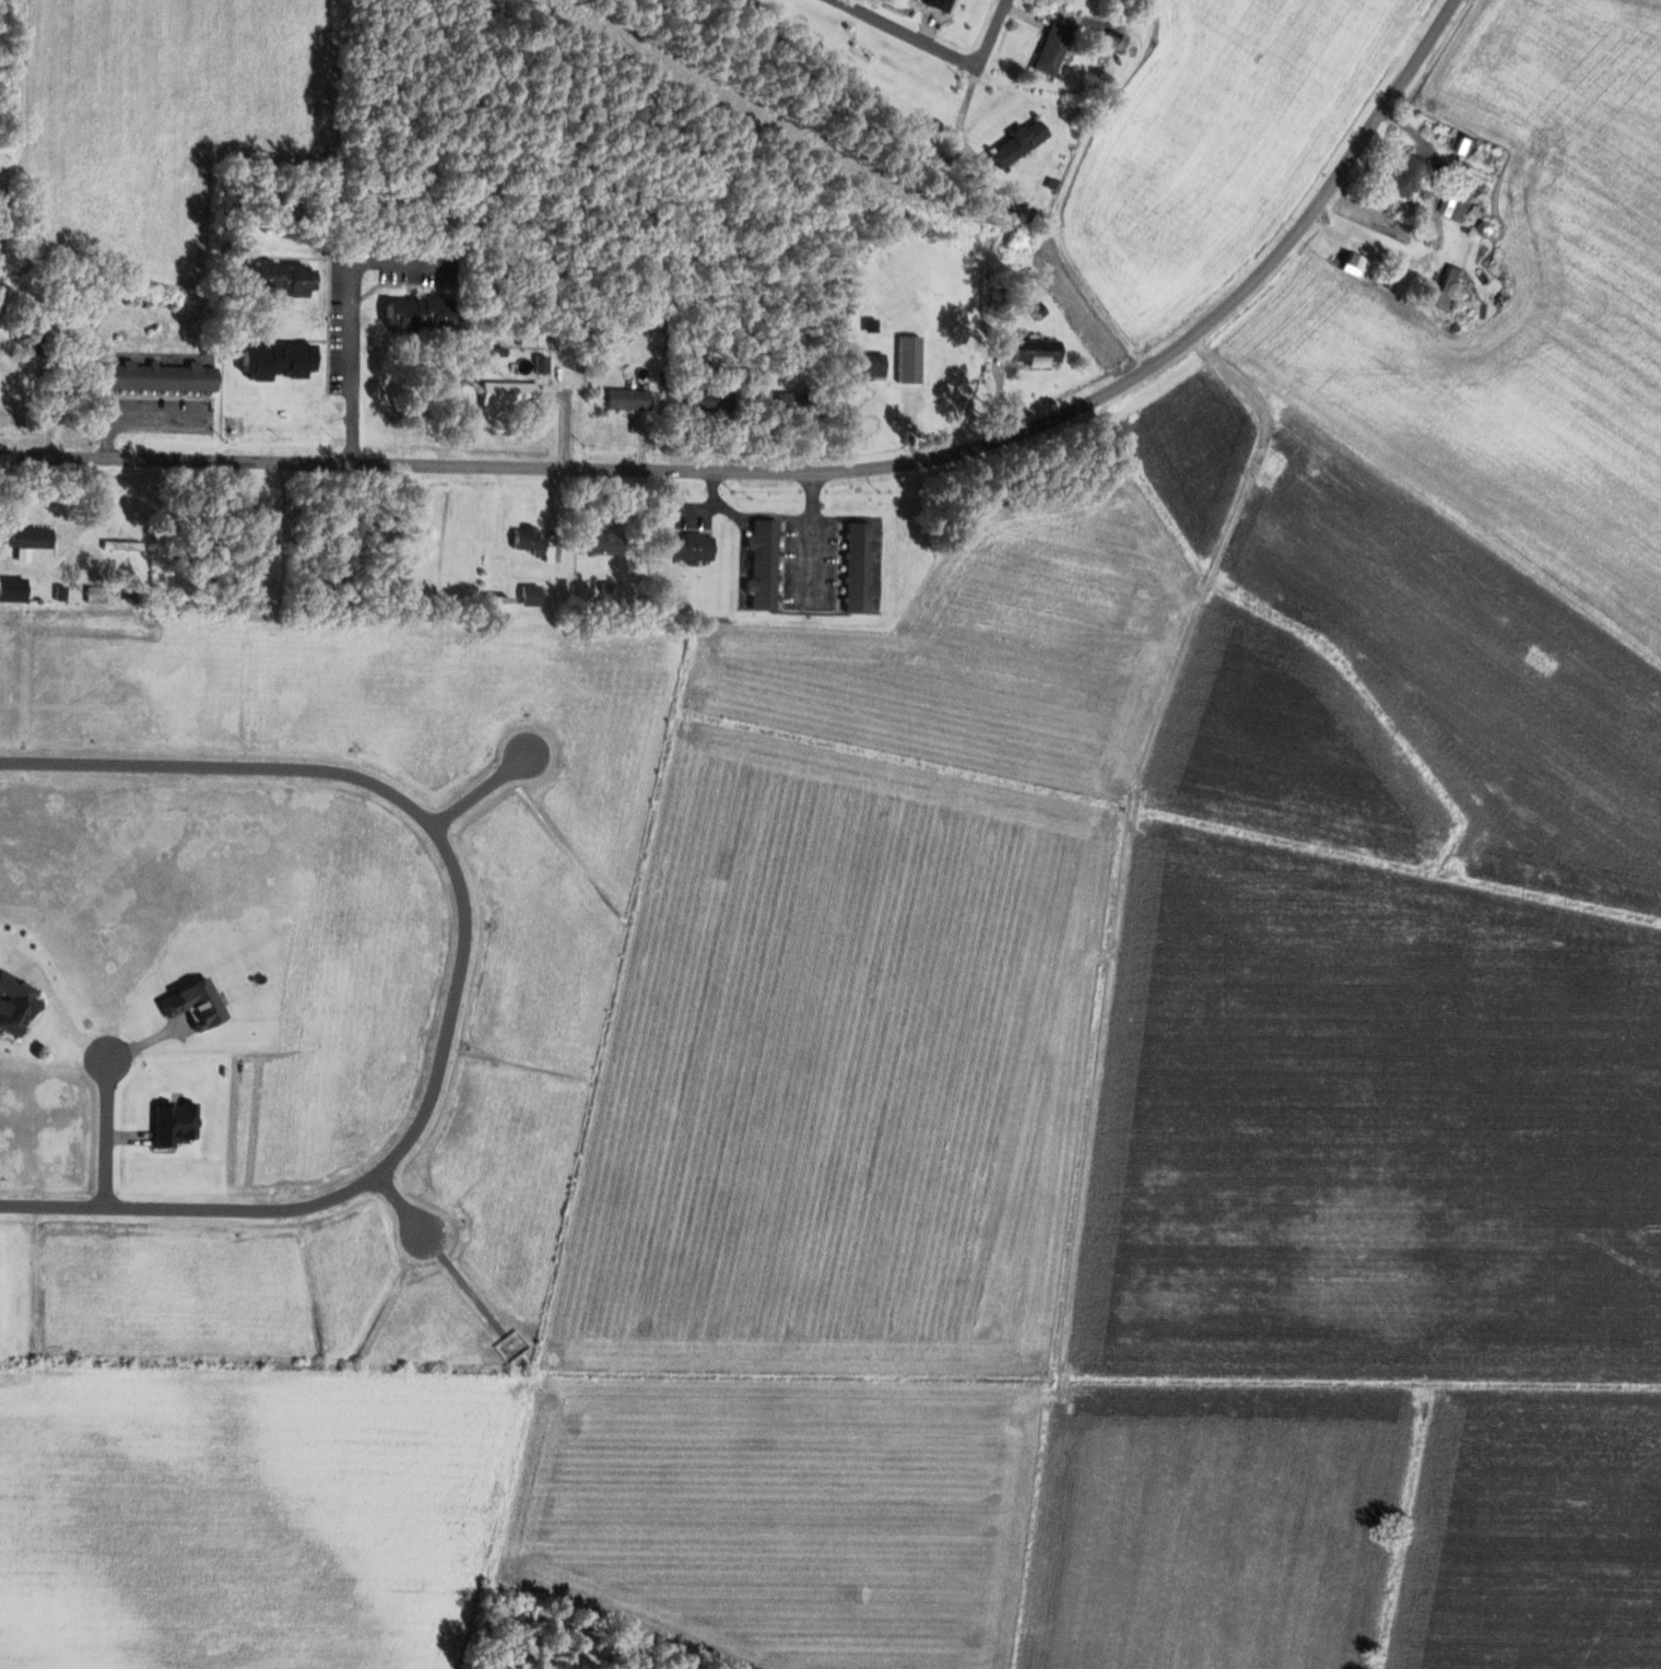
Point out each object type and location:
building: (940, 4)
building: (1117, 42)
building: (1053, 49)
road: (966, 60)
road: (976, 77)
building: (1018, 143)
building: (1464, 143)
road: (0, 174)
building: (1405, 175)
building: (1457, 203)
road: (1310, 213)
building: (1354, 265)
building: (281, 279)
building: (1402, 280)
building: (1448, 287)
building: (422, 316)
road: (566, 345)
building: (1037, 352)
building: (278, 361)
building: (867, 365)
building: (161, 377)
building: (511, 395)
building: (627, 399)
building: (712, 399)
road: (568, 469)
building: (528, 538)
building: (605, 542)
building: (693, 545)
building: (763, 563)
building: (857, 566)
building: (13, 589)
building: (531, 596)
road: (484, 791)
road: (463, 978)
building: (15, 1003)
road: (108, 1132)
road: (402, 1203)
building: (509, 1344)

